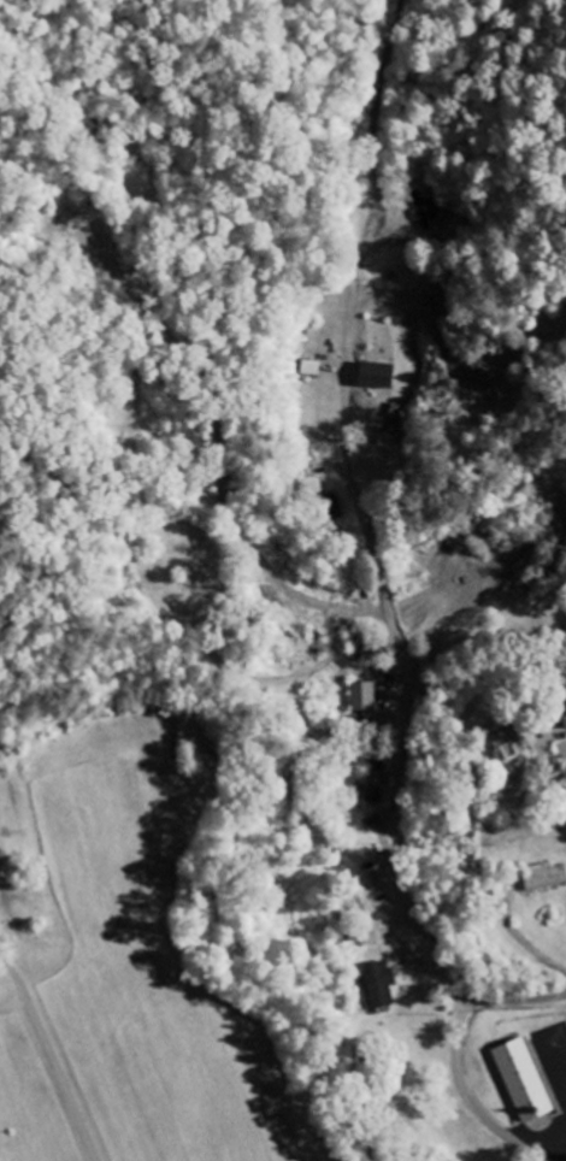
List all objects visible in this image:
road: (378, 93)
building: (424, 211)
building: (378, 377)
road: (407, 693)
building: (365, 699)
building: (564, 714)
road: (485, 732)
building: (506, 747)
building: (376, 786)
building: (544, 878)
building: (371, 938)
building: (381, 985)
road: (513, 1001)
road: (49, 1053)
building: (524, 1080)

